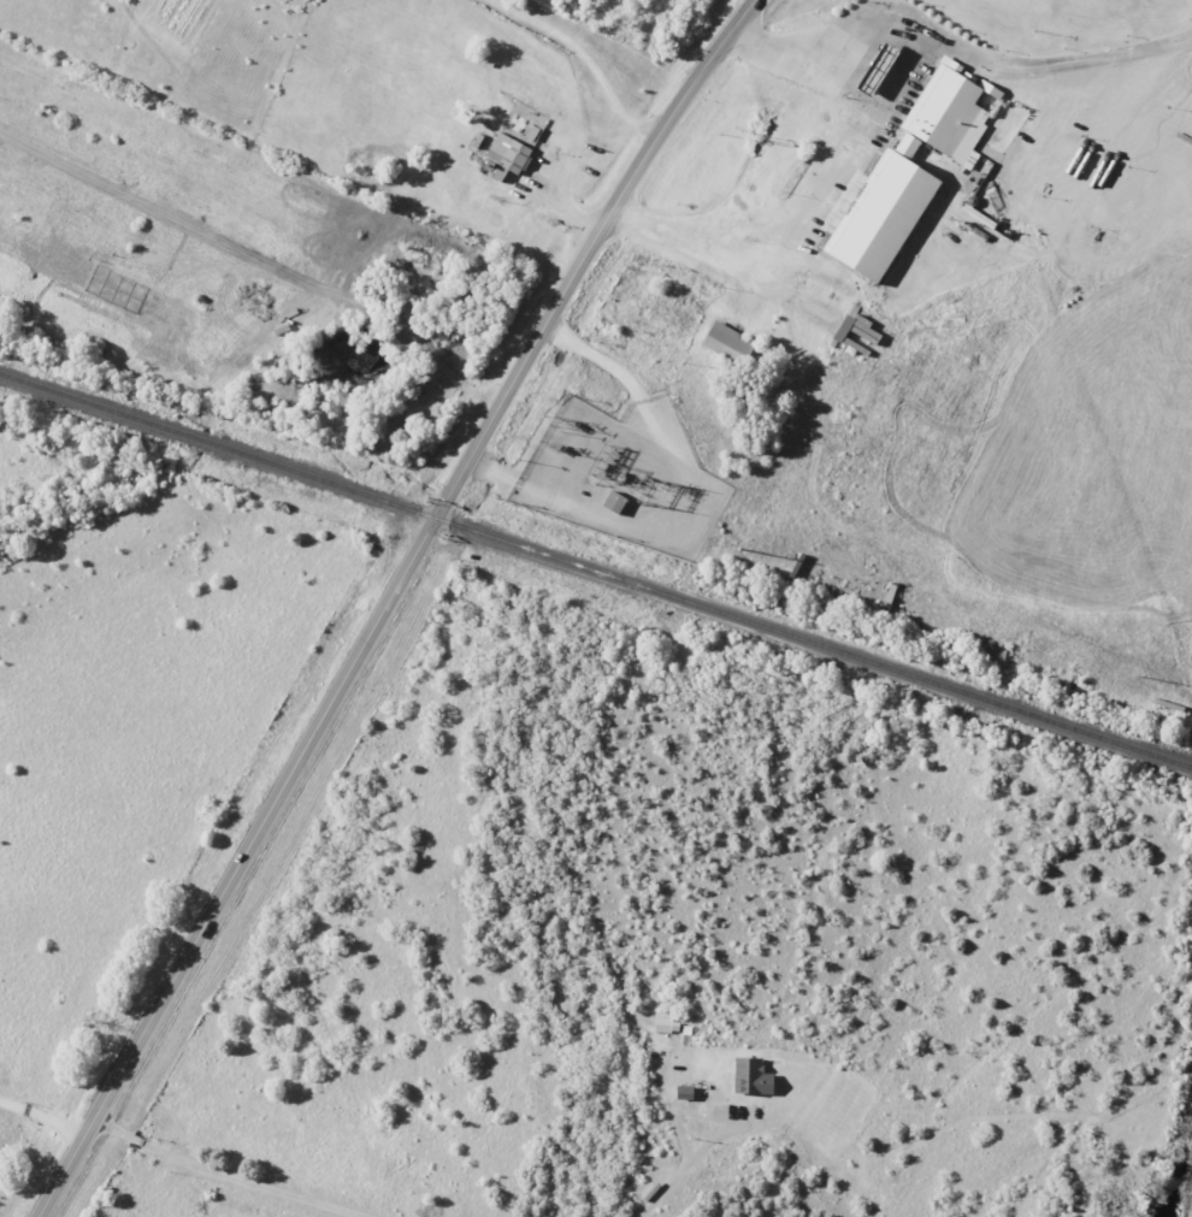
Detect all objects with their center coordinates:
road: (773, 55)
road: (586, 59)
road: (824, 66)
building: (883, 67)
building: (511, 153)
building: (914, 172)
building: (732, 343)
power substation: (622, 477)
railway: (595, 571)
road: (388, 602)
building: (668, 1026)
building: (755, 1077)
building: (688, 1093)
road: (42, 1117)
road: (681, 1169)
road: (225, 1176)

